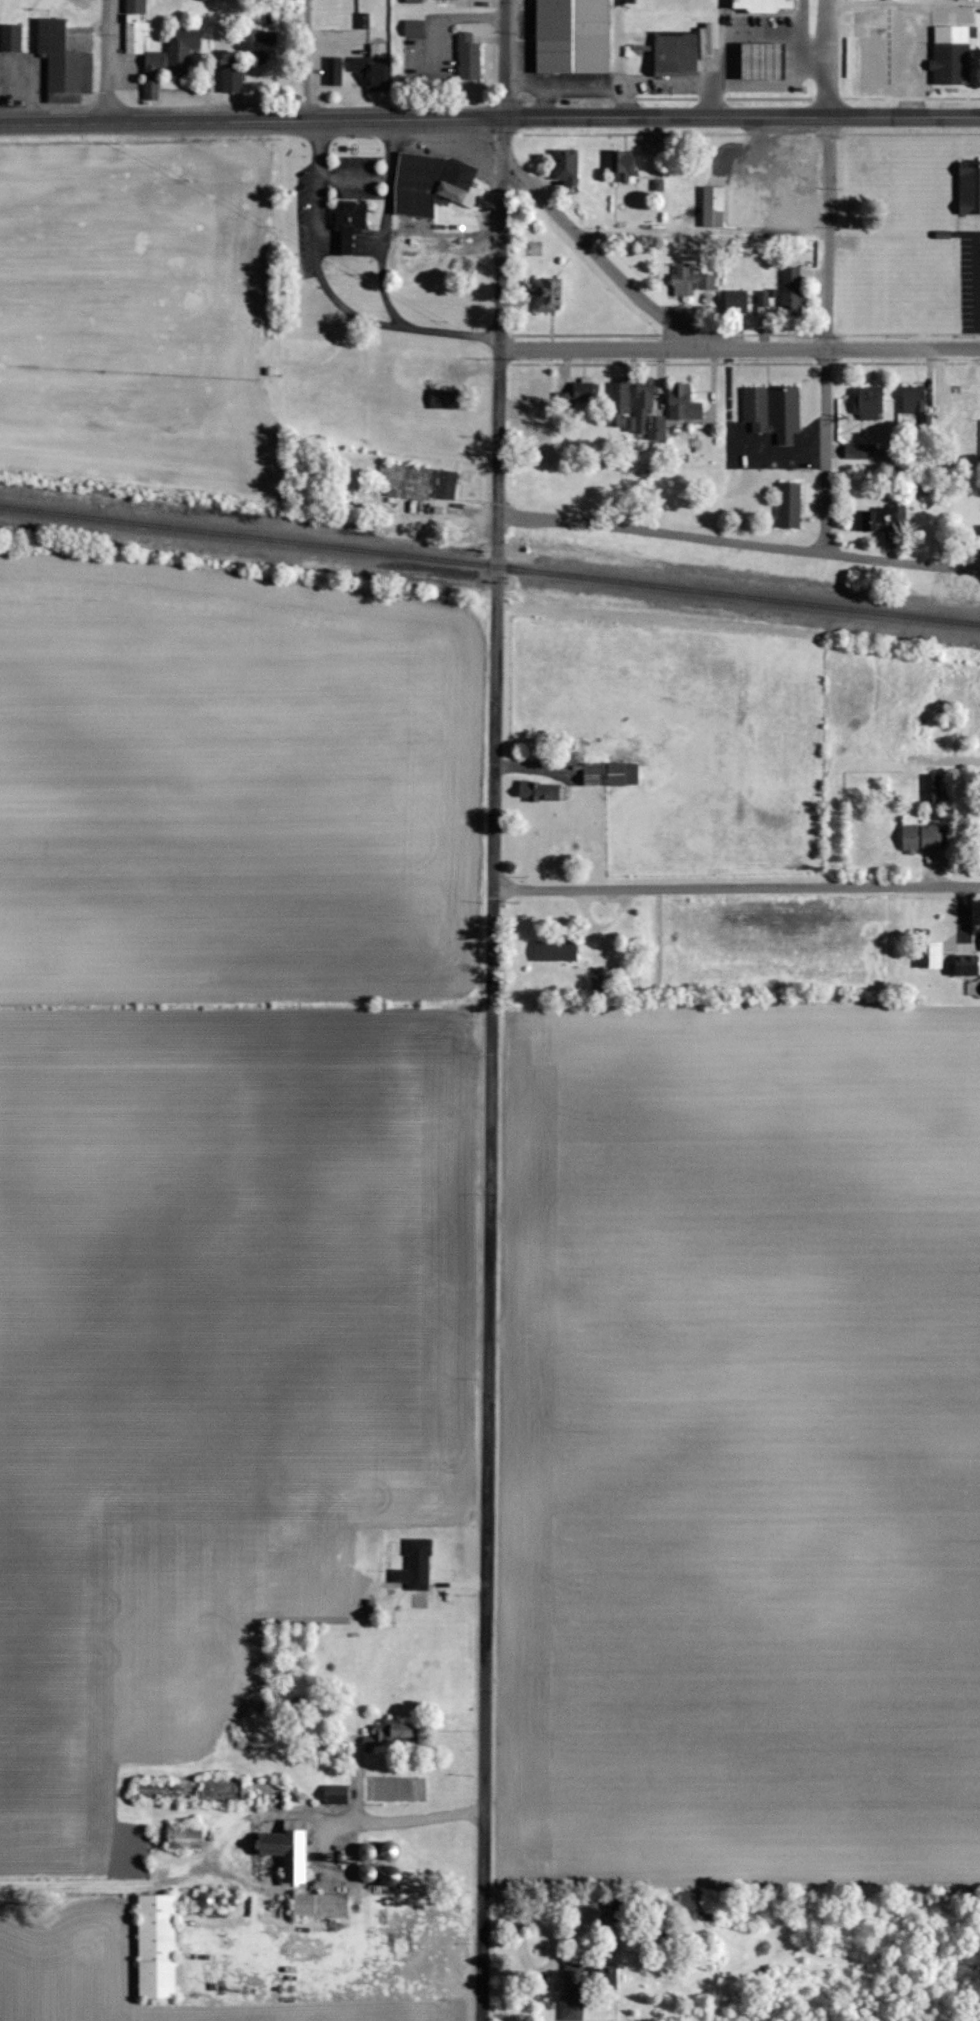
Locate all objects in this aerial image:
building: (447, 0)
building: (413, 1)
road: (905, 4)
building: (763, 6)
building: (135, 26)
building: (877, 26)
building: (414, 28)
building: (526, 28)
building: (572, 37)
building: (11, 38)
building: (265, 50)
building: (676, 54)
building: (951, 56)
building: (468, 57)
road: (506, 58)
road: (308, 59)
road: (920, 59)
road: (107, 60)
building: (171, 60)
building: (63, 62)
building: (762, 62)
building: (867, 62)
building: (333, 71)
building: (375, 72)
building: (232, 79)
road: (743, 116)
road: (253, 119)
building: (567, 167)
building: (623, 167)
road: (829, 173)
road: (386, 182)
building: (432, 183)
building: (969, 187)
building: (712, 206)
building: (767, 206)
building: (349, 223)
road: (703, 231)
road: (315, 249)
road: (381, 258)
building: (690, 280)
road: (979, 284)
building: (791, 291)
building: (549, 295)
building: (736, 301)
road: (451, 336)
road: (503, 341)
road: (705, 343)
road: (607, 347)
building: (539, 395)
building: (577, 397)
building: (444, 398)
building: (913, 399)
building: (620, 400)
building: (683, 403)
building: (868, 403)
building: (648, 407)
building: (773, 411)
building: (962, 421)
road: (827, 449)
building: (860, 451)
building: (418, 482)
building: (789, 504)
building: (882, 521)
road: (740, 540)
railway: (490, 564)
building: (976, 699)
road: (496, 727)
building: (922, 730)
building: (611, 775)
building: (932, 789)
building: (539, 791)
building: (923, 837)
road: (736, 887)
road: (492, 943)
building: (556, 950)
building: (966, 969)
road: (486, 1509)
building: (416, 1566)
building: (304, 1706)
building: (393, 1735)
building: (163, 1790)
building: (222, 1791)
building: (335, 1794)
road: (405, 1825)
building: (184, 1838)
building: (287, 1849)
building: (389, 1850)
building: (319, 1905)
building: (157, 1946)
building: (573, 1992)

